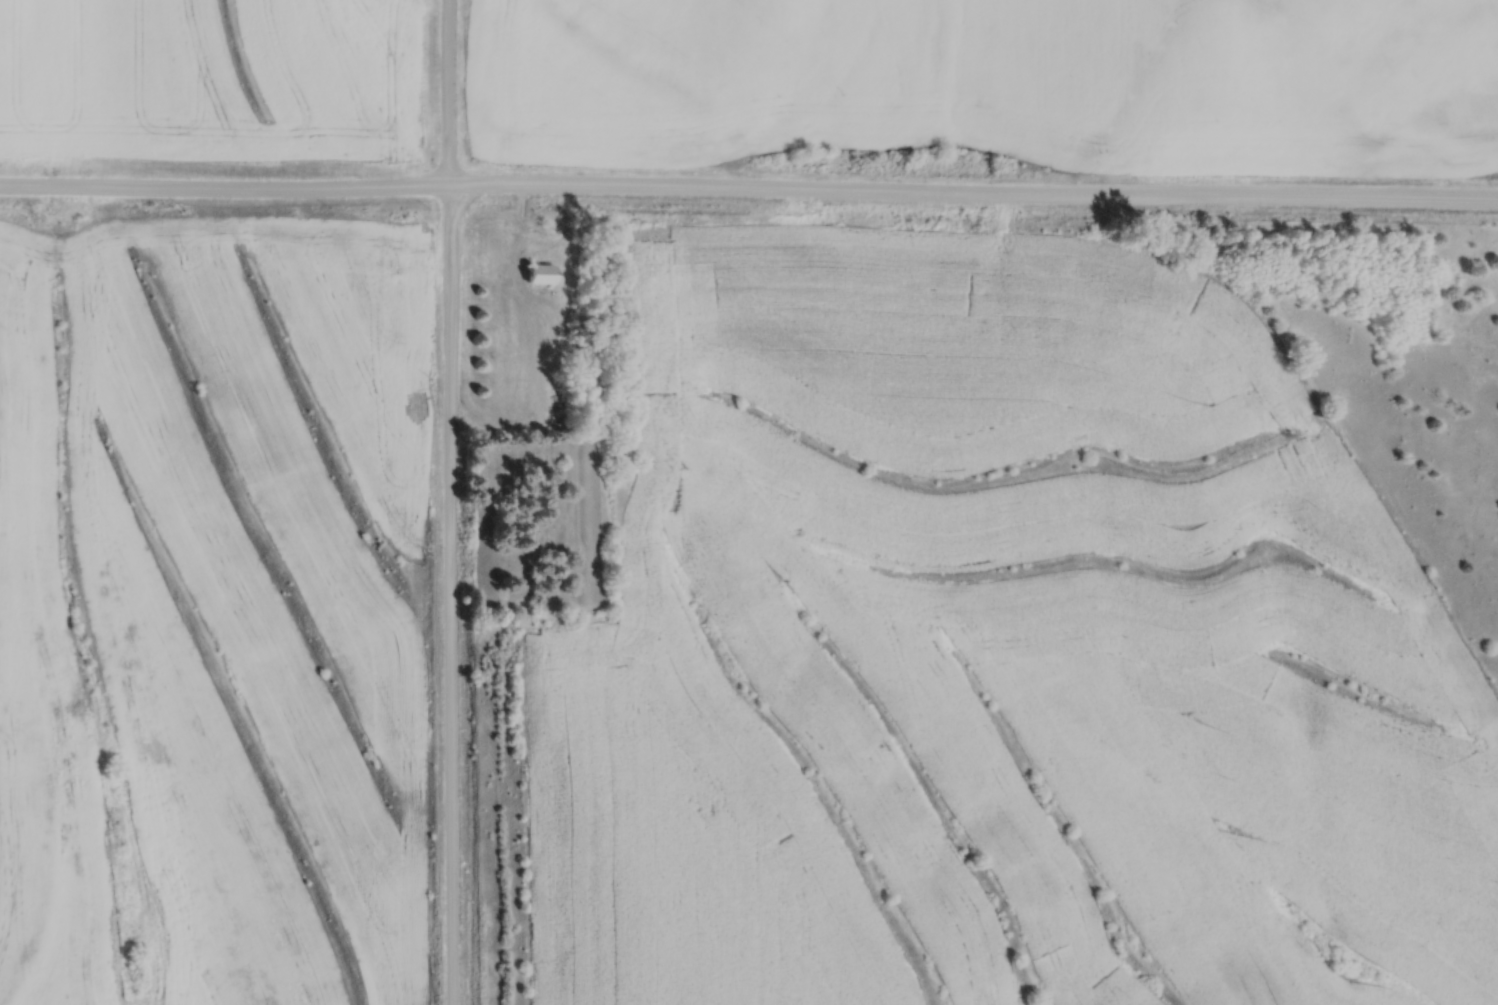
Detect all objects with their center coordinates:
road: (447, 94)
road: (224, 191)
road: (973, 200)
building: (545, 273)
road: (449, 596)

